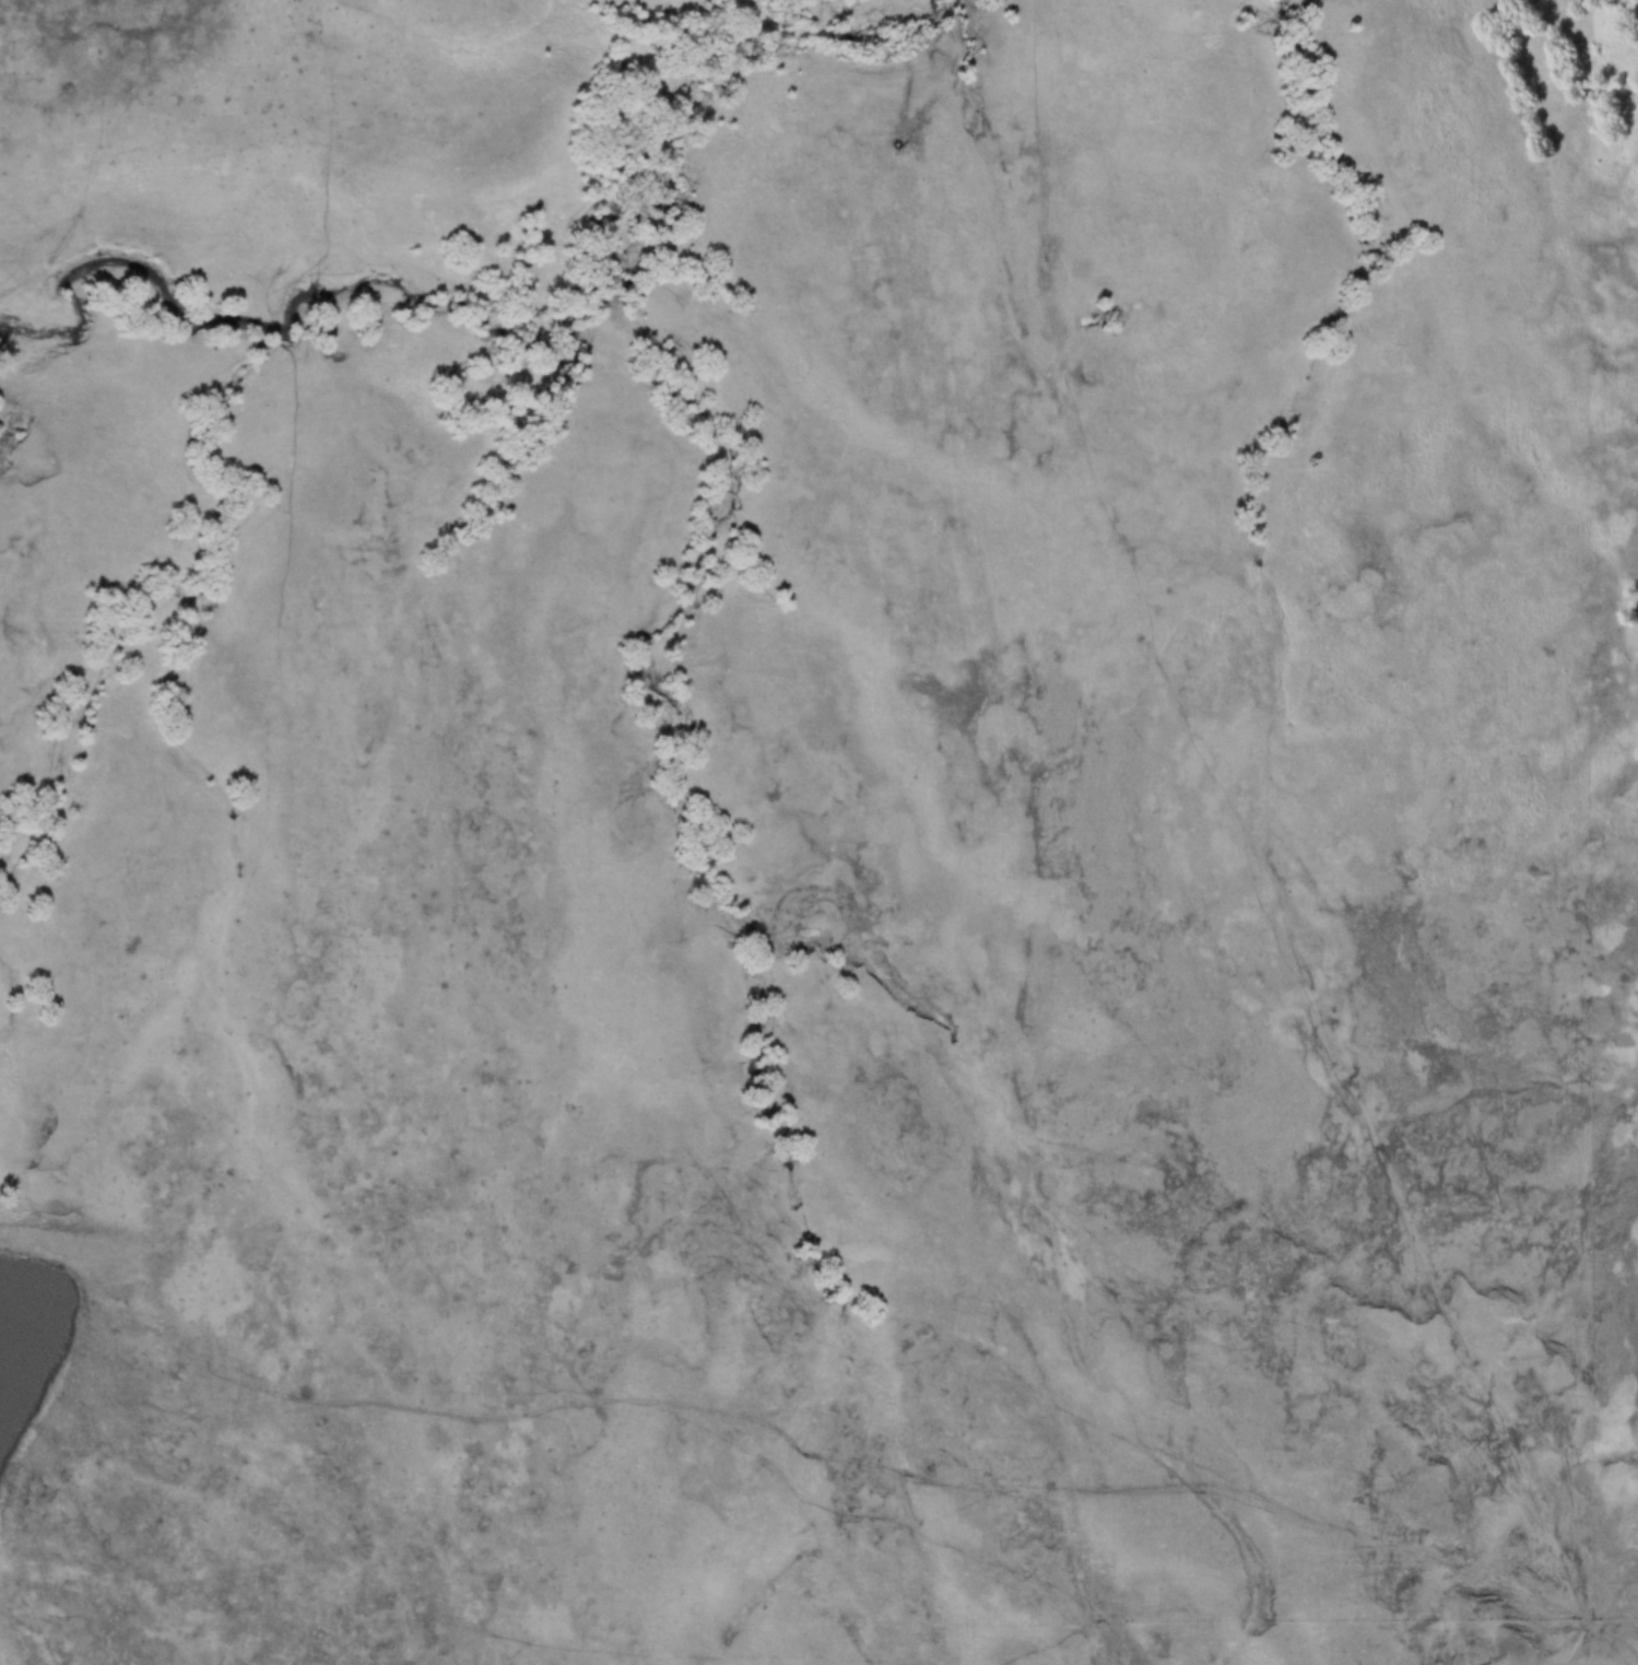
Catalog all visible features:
dam: (61, 1241)
road: (173, 1341)

